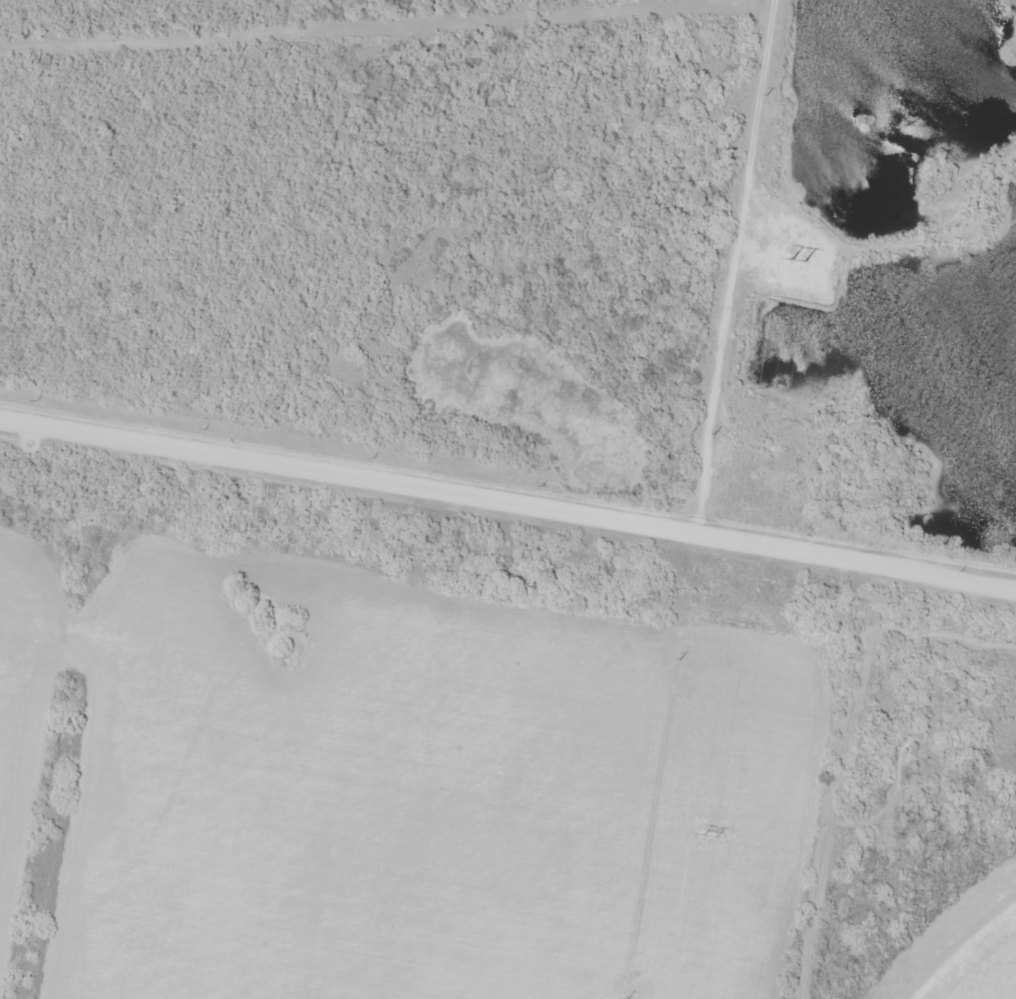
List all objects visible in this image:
power tower: (798, 261)
road: (504, 473)
railway: (508, 517)
road: (869, 696)
road: (814, 820)
power tower: (710, 837)

